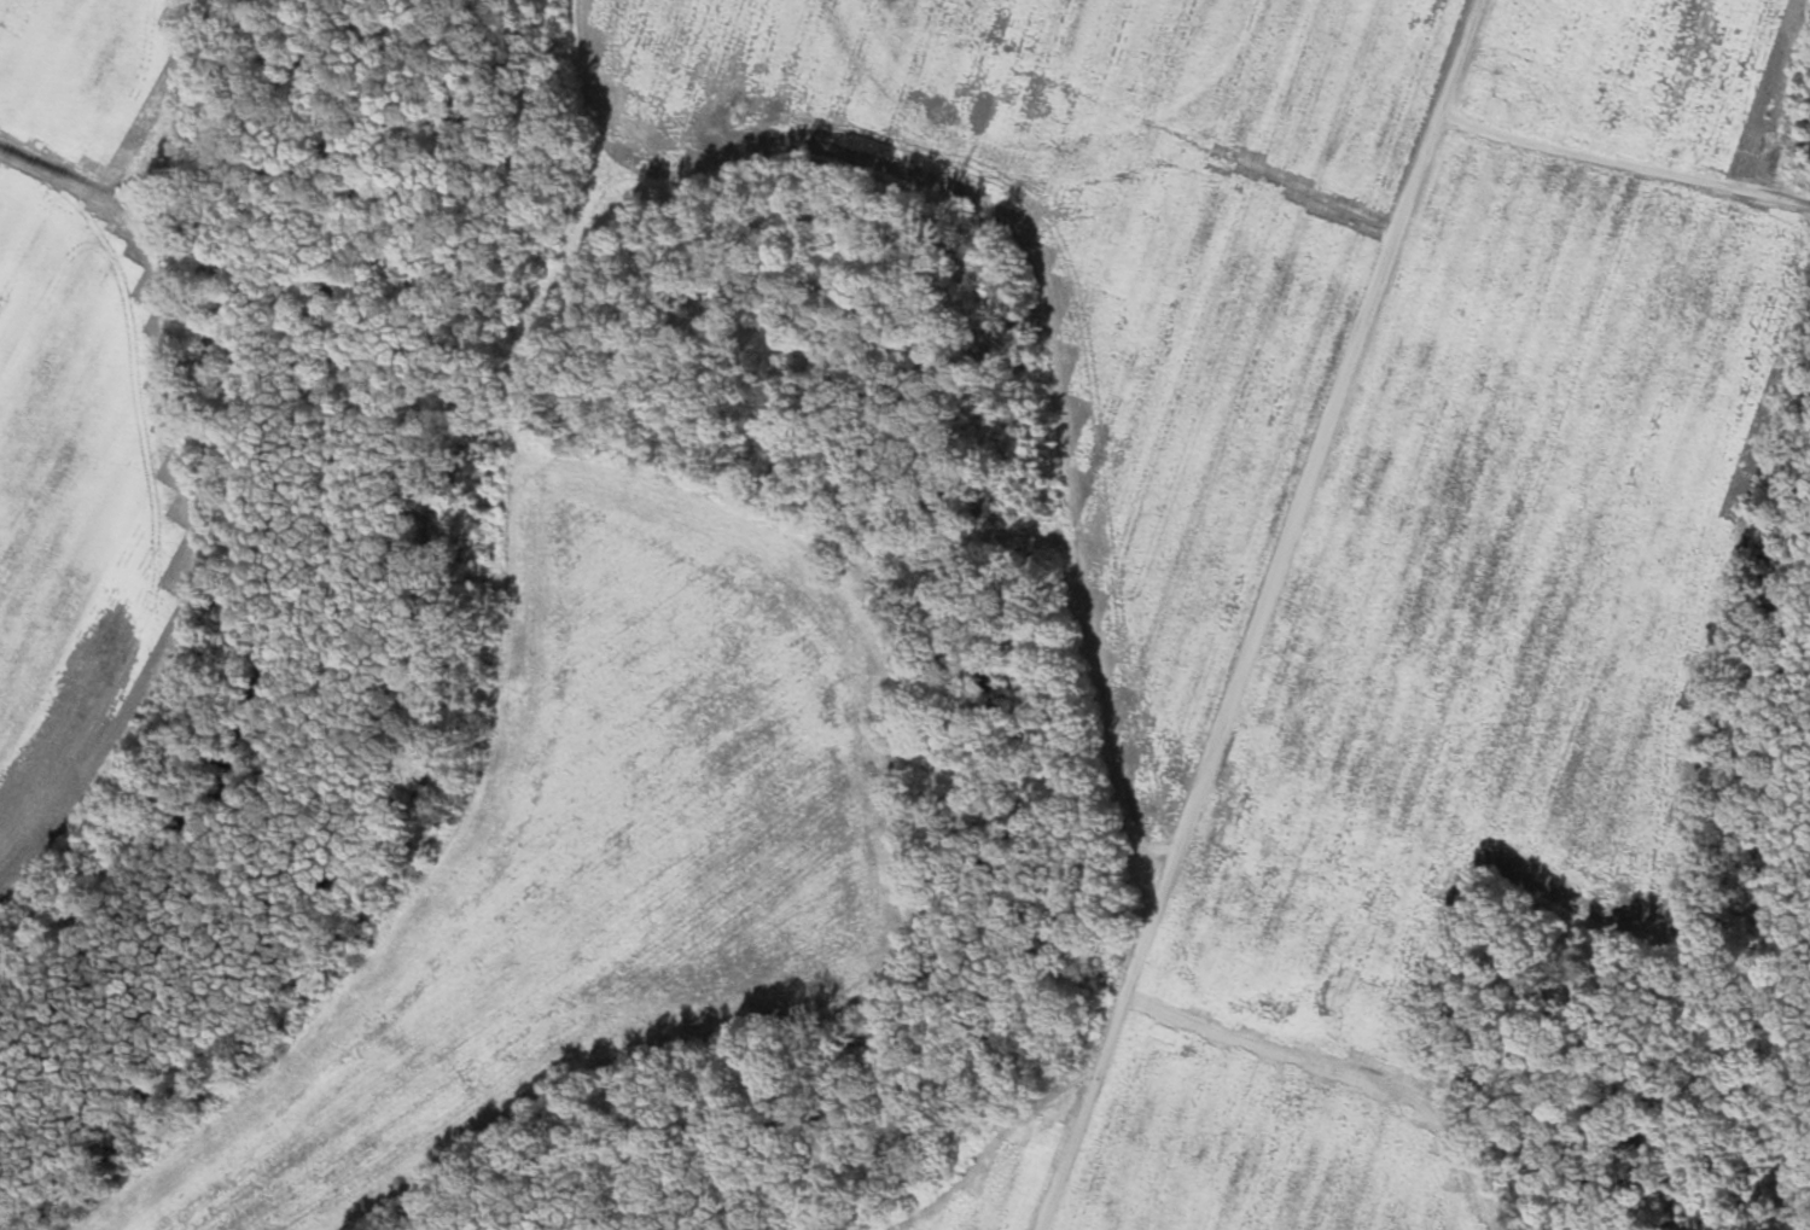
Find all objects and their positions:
road: (1505, 363)
road: (1230, 614)

